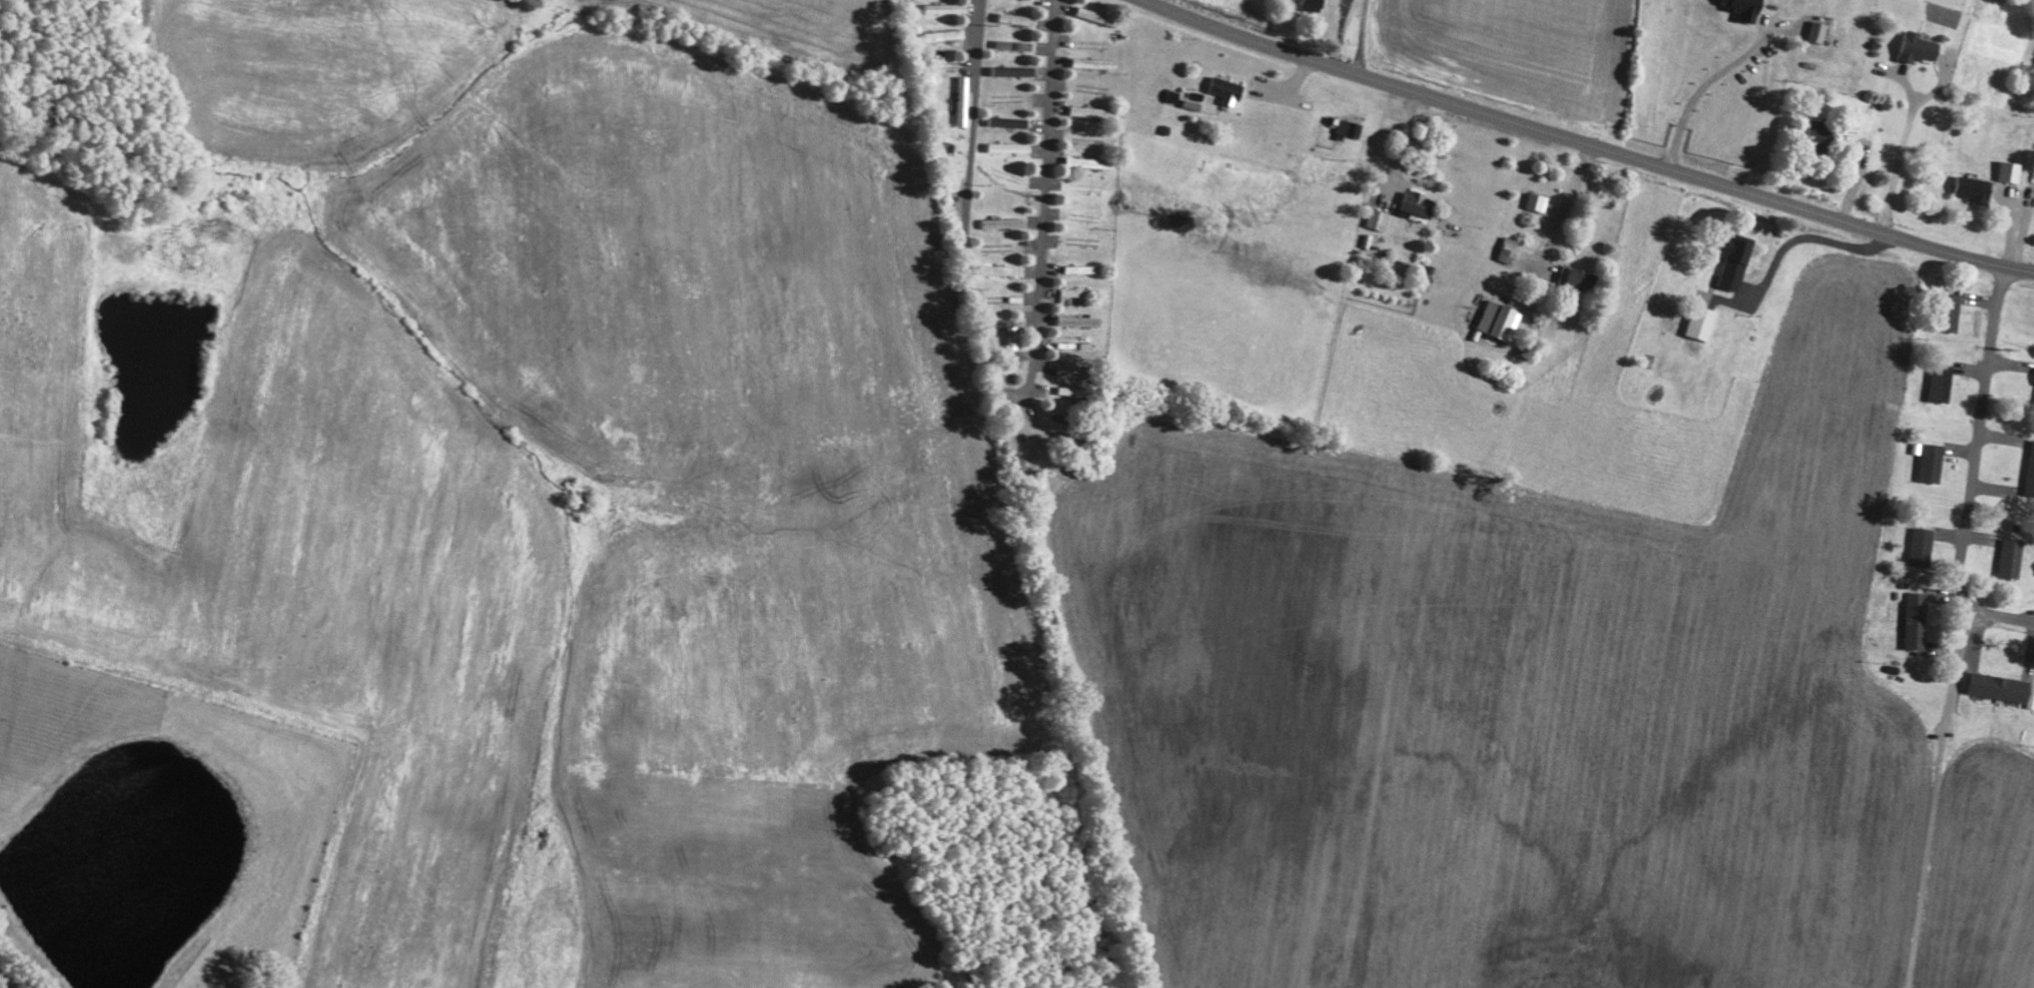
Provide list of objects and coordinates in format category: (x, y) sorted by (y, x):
building: (1737, 8)
road: (502, 12)
building: (1097, 16)
building: (1813, 32)
building: (947, 35)
road: (769, 38)
building: (1006, 44)
building: (1026, 45)
building: (1911, 48)
building: (1096, 63)
building: (1015, 71)
building: (1223, 90)
building: (1088, 112)
building: (1347, 128)
building: (1810, 134)
road: (1587, 143)
building: (1012, 148)
building: (2006, 172)
building: (1966, 189)
building: (1412, 203)
building: (1535, 203)
building: (1376, 220)
building: (1007, 223)
building: (1505, 250)
building: (1727, 262)
building: (1084, 269)
building: (1571, 278)
building: (1080, 293)
building: (1945, 312)
building: (1080, 321)
building: (1495, 322)
building: (1696, 323)
building: (1014, 339)
building: (1936, 382)
building: (2032, 390)
road: (1010, 394)
building: (1064, 427)
building: (1925, 464)
building: (2027, 469)
road: (1971, 472)
building: (1916, 546)
building: (2005, 559)
building: (1911, 621)
building: (1992, 688)

